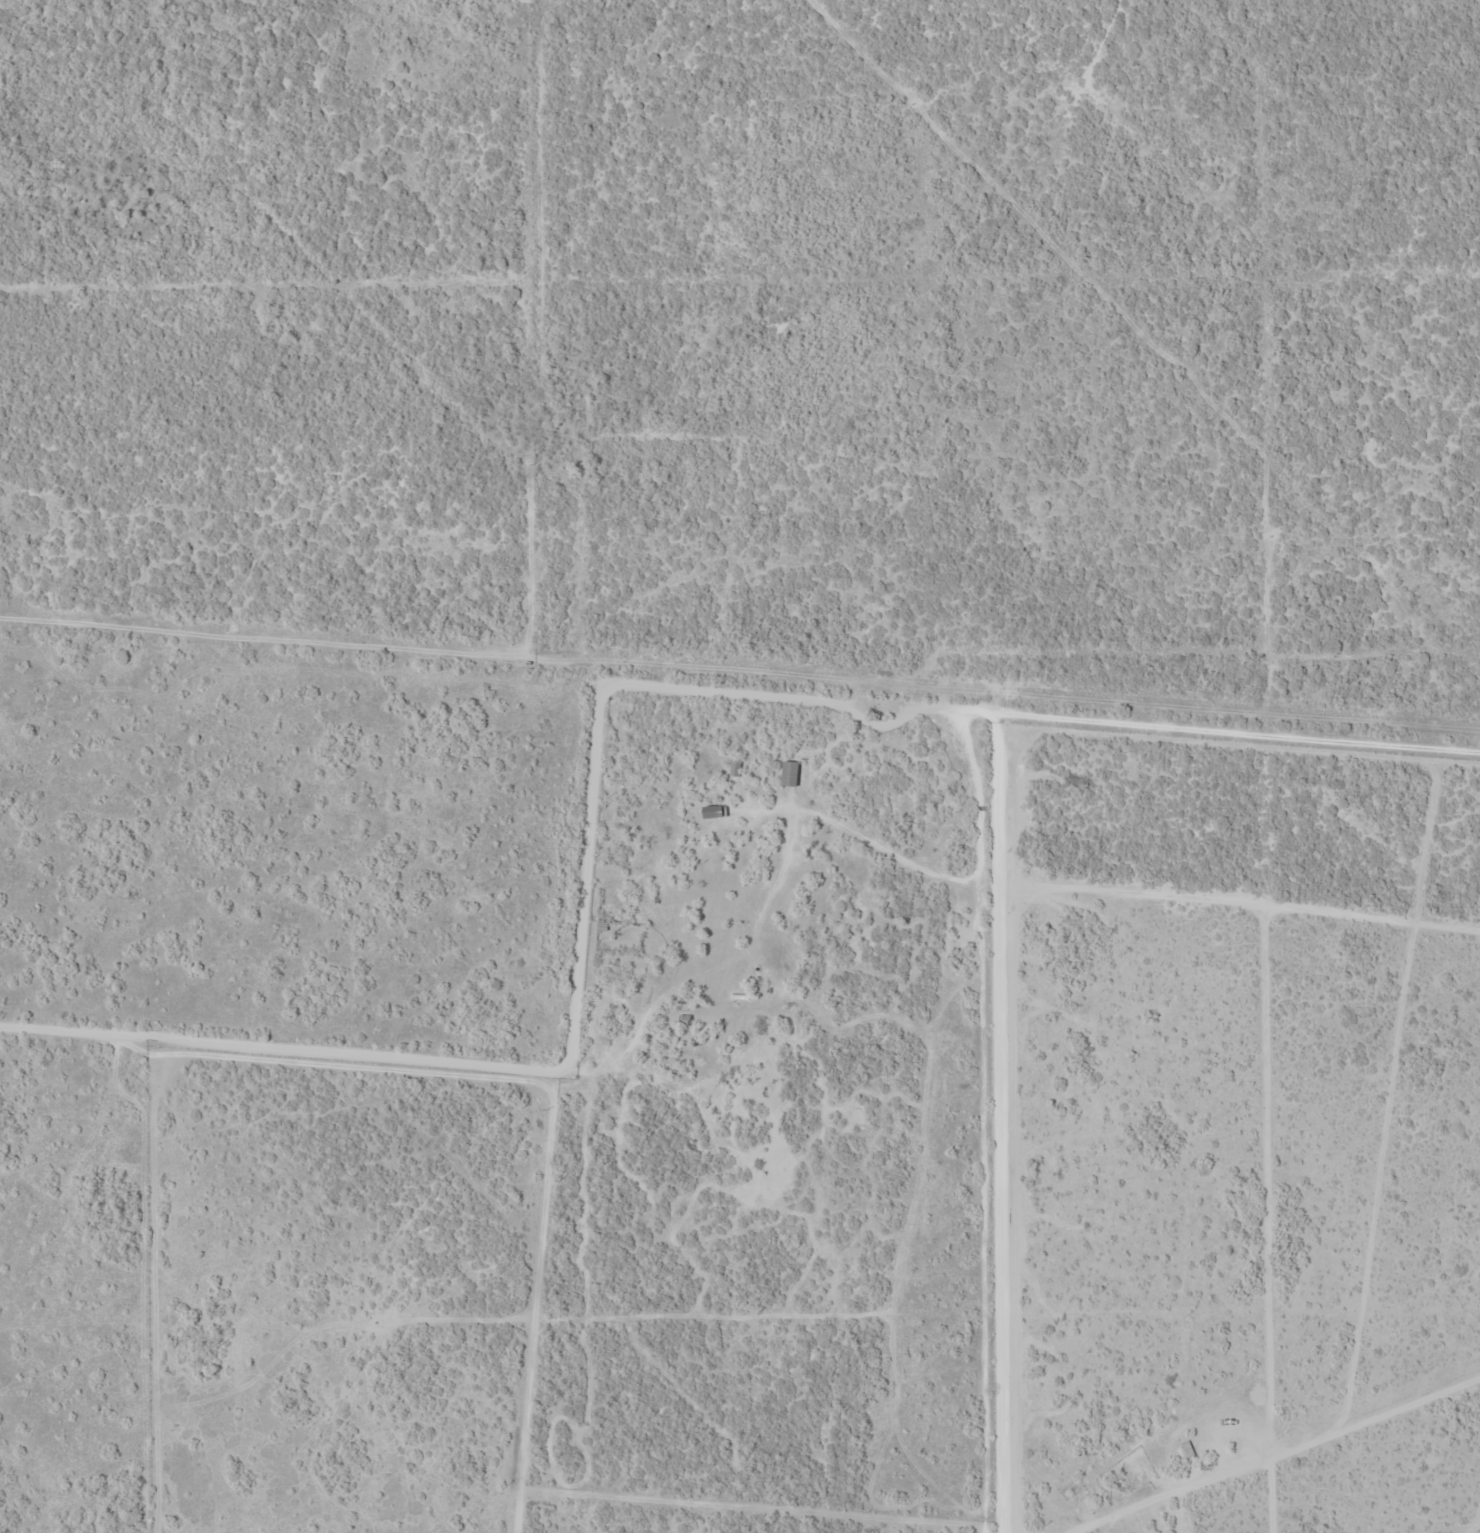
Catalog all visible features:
road: (534, 290)
building: (733, 769)
building: (787, 774)
building: (707, 813)
road: (485, 1045)

